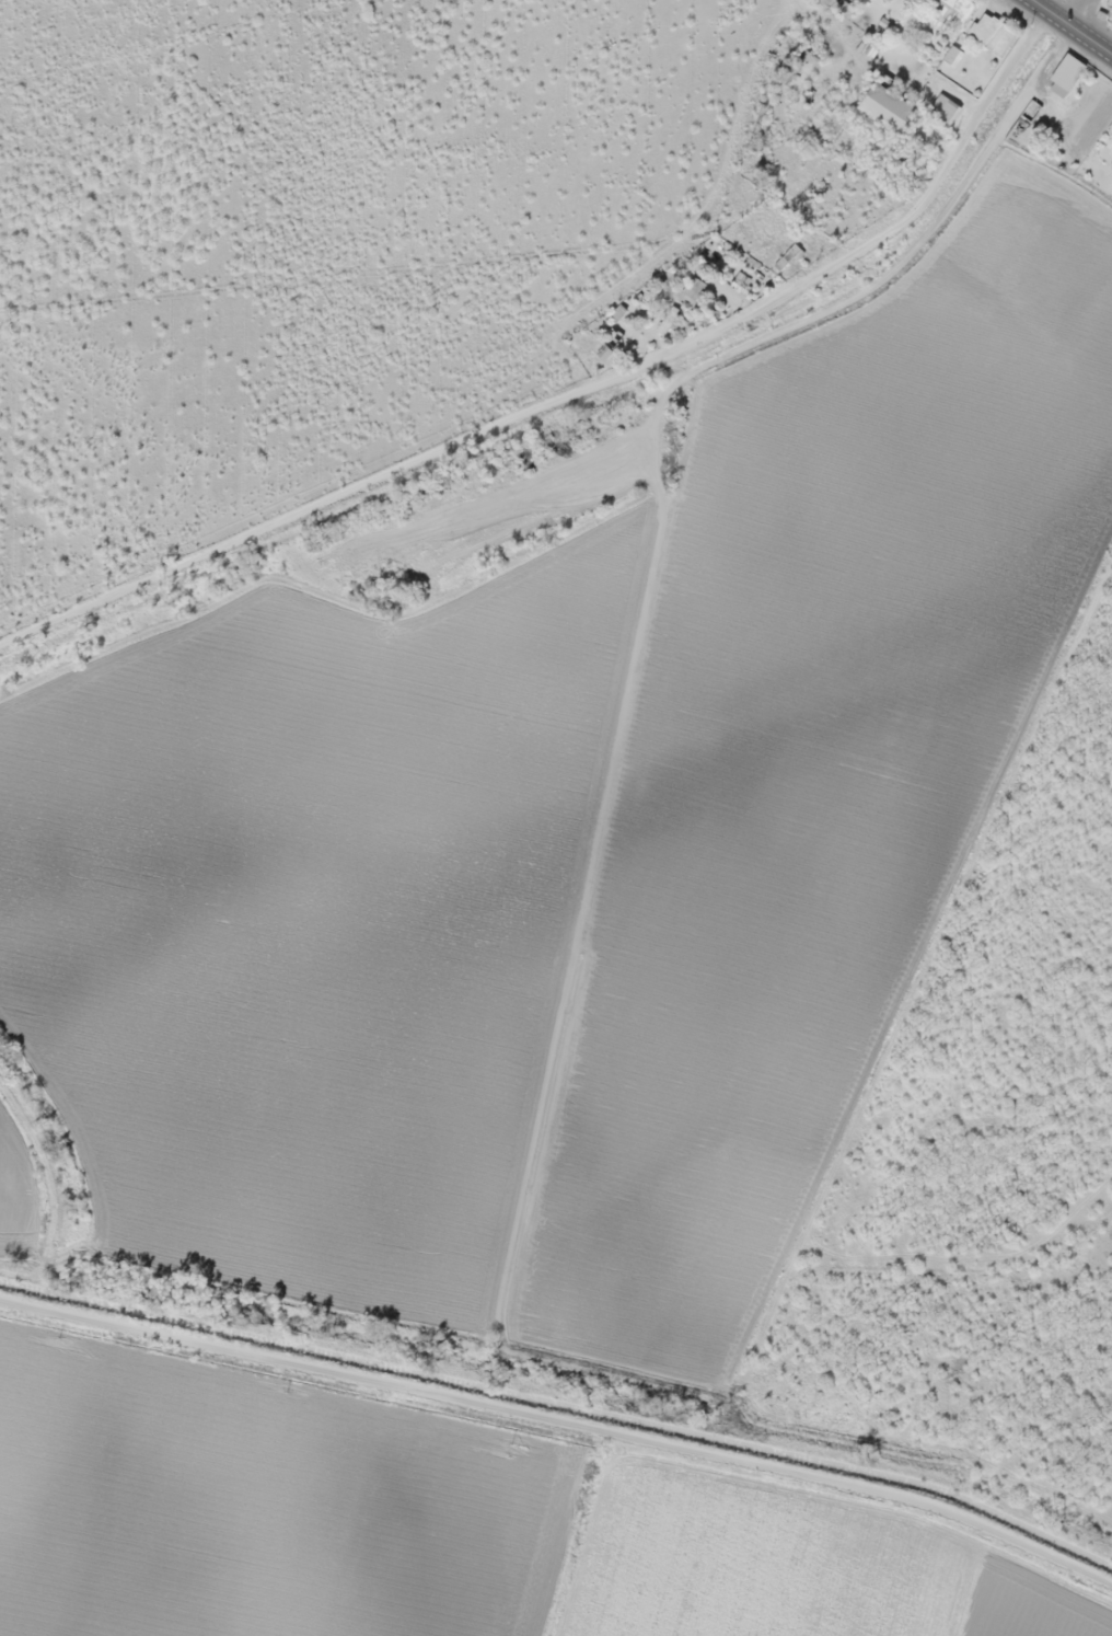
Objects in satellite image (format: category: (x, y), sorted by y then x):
road: (1074, 25)
power tower: (757, 149)

